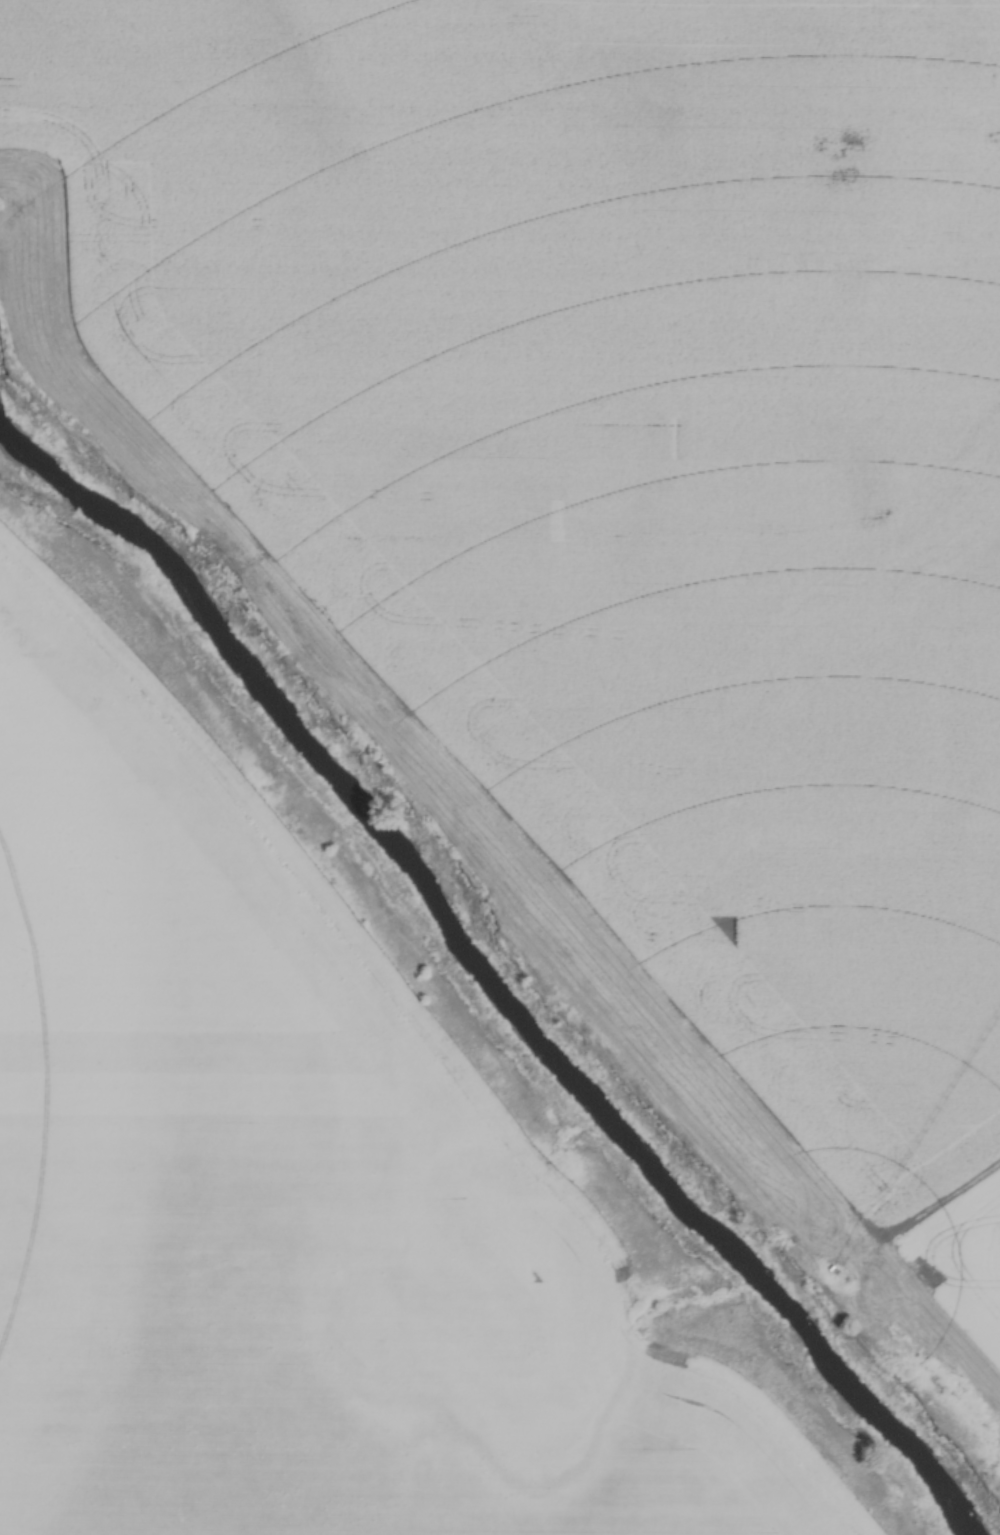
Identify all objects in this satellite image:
river: (483, 981)

